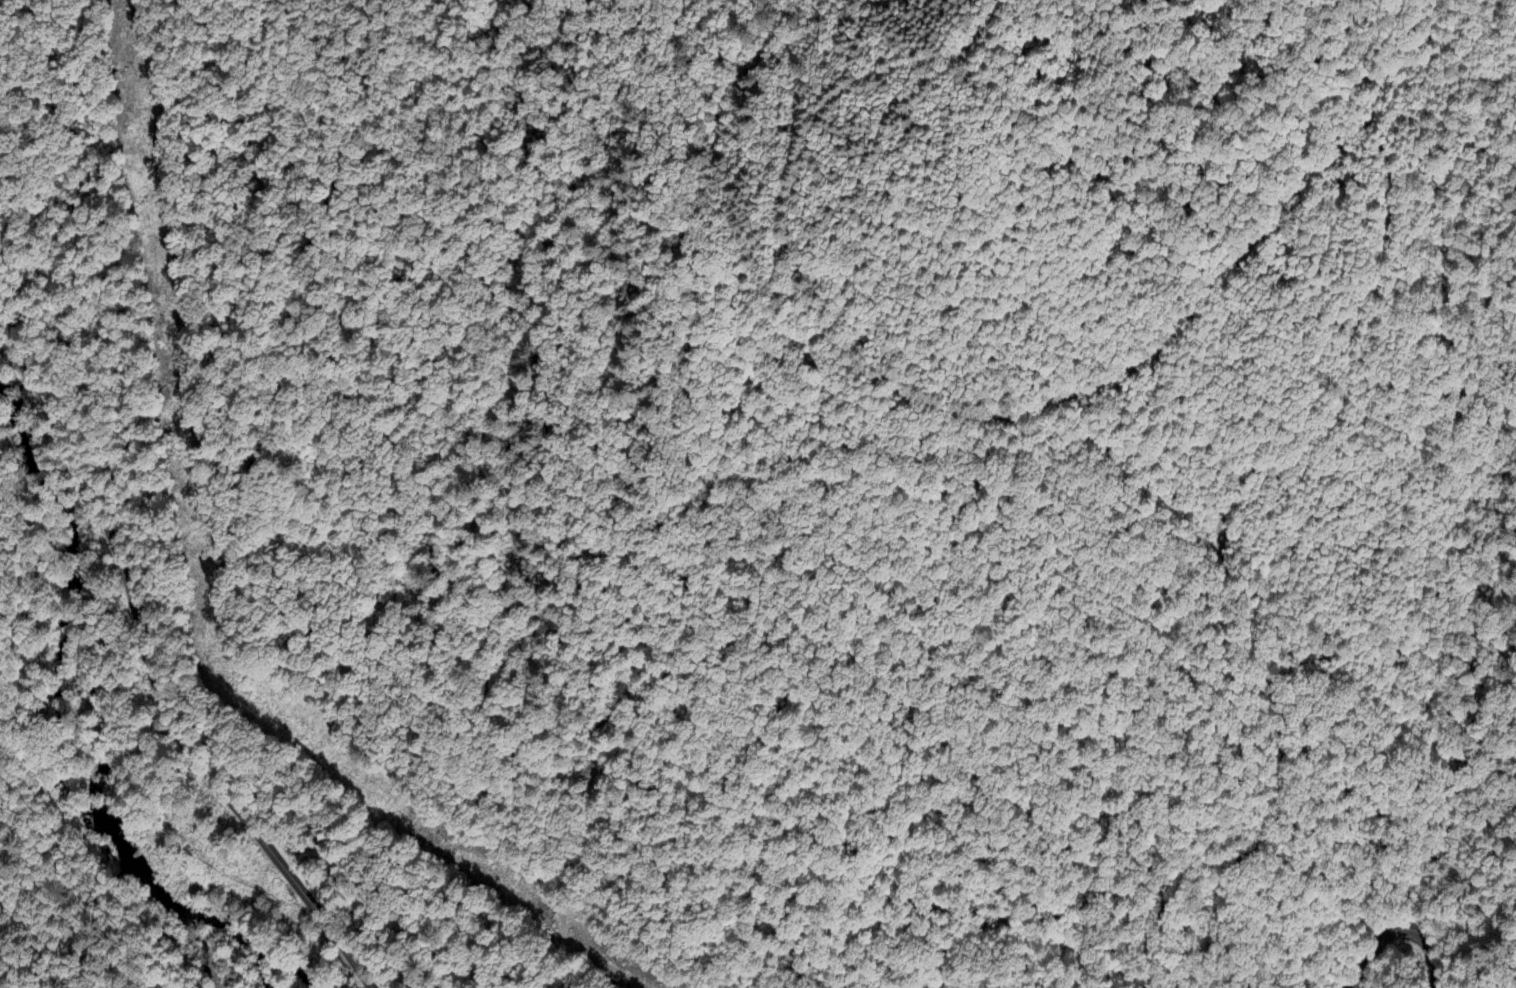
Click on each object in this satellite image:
road: (155, 682)
road: (1400, 930)

